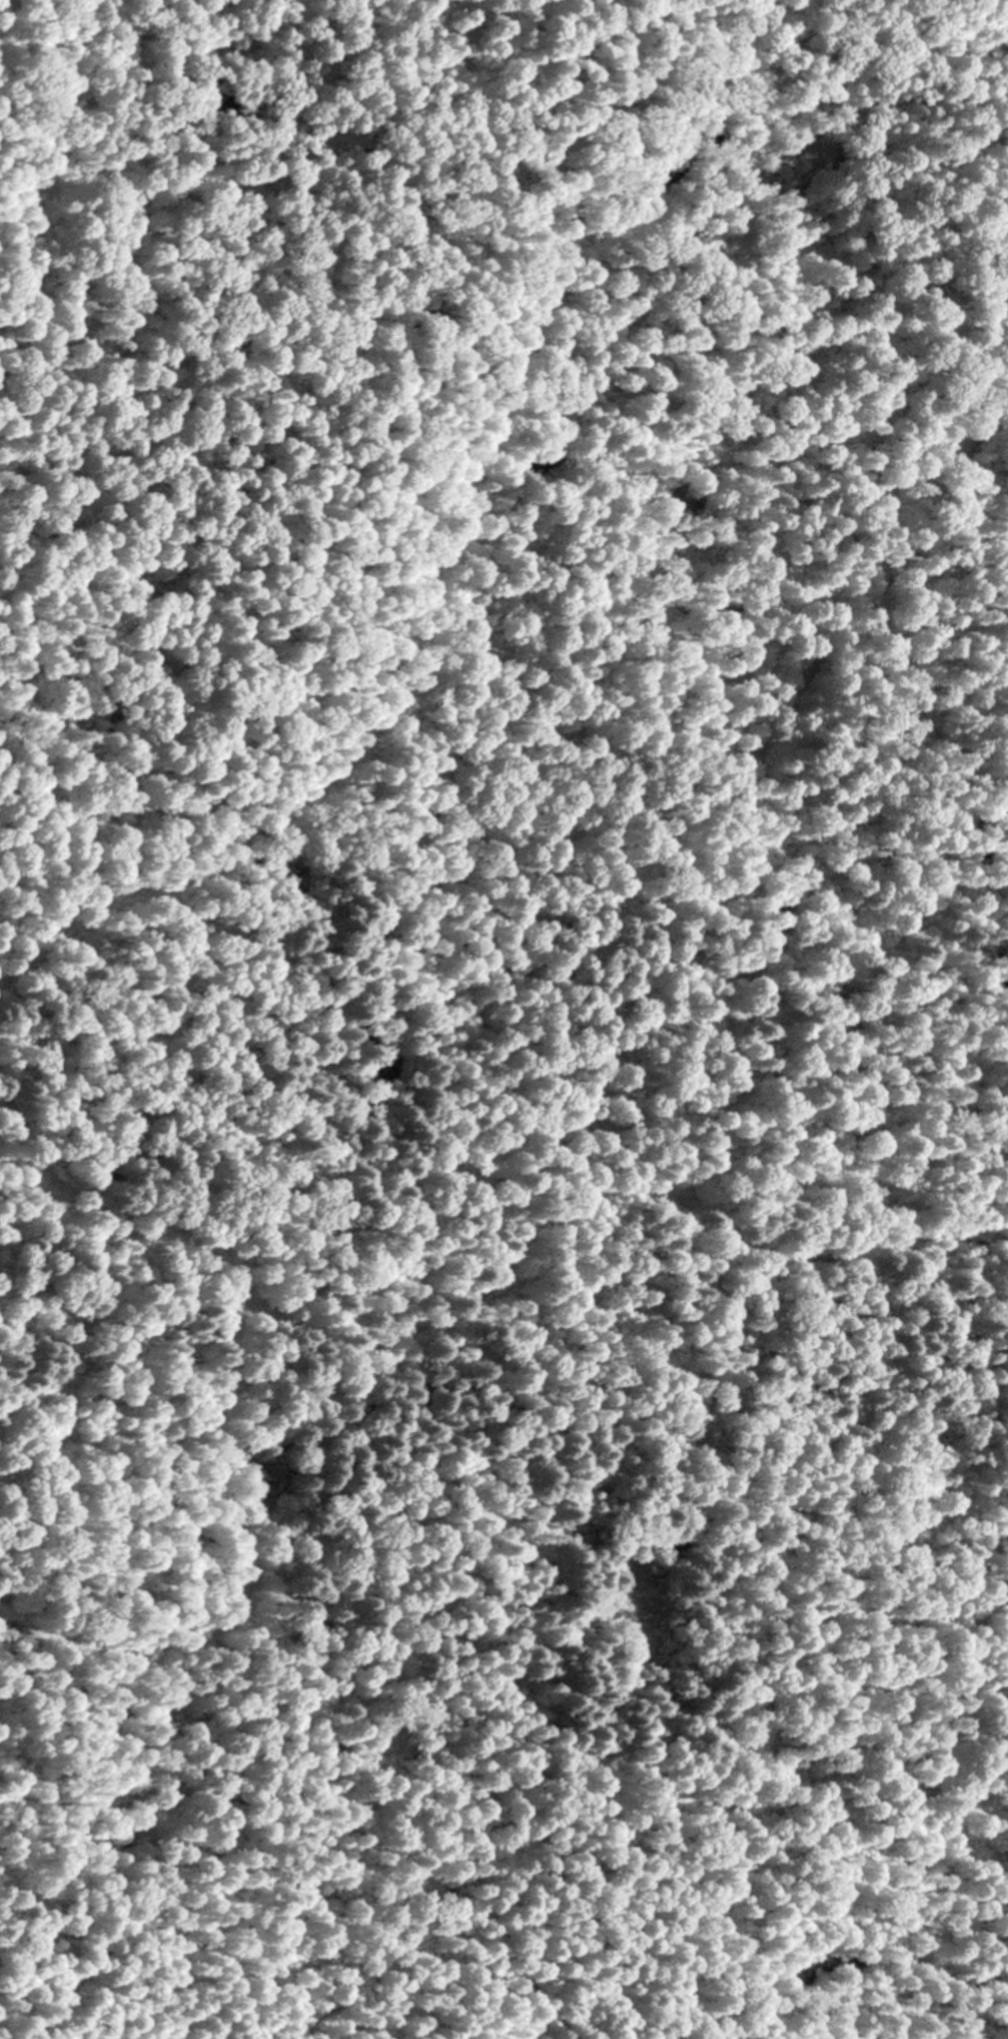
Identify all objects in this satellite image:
road: (540, 679)
road: (433, 1314)
road: (202, 1601)
road: (445, 1979)

